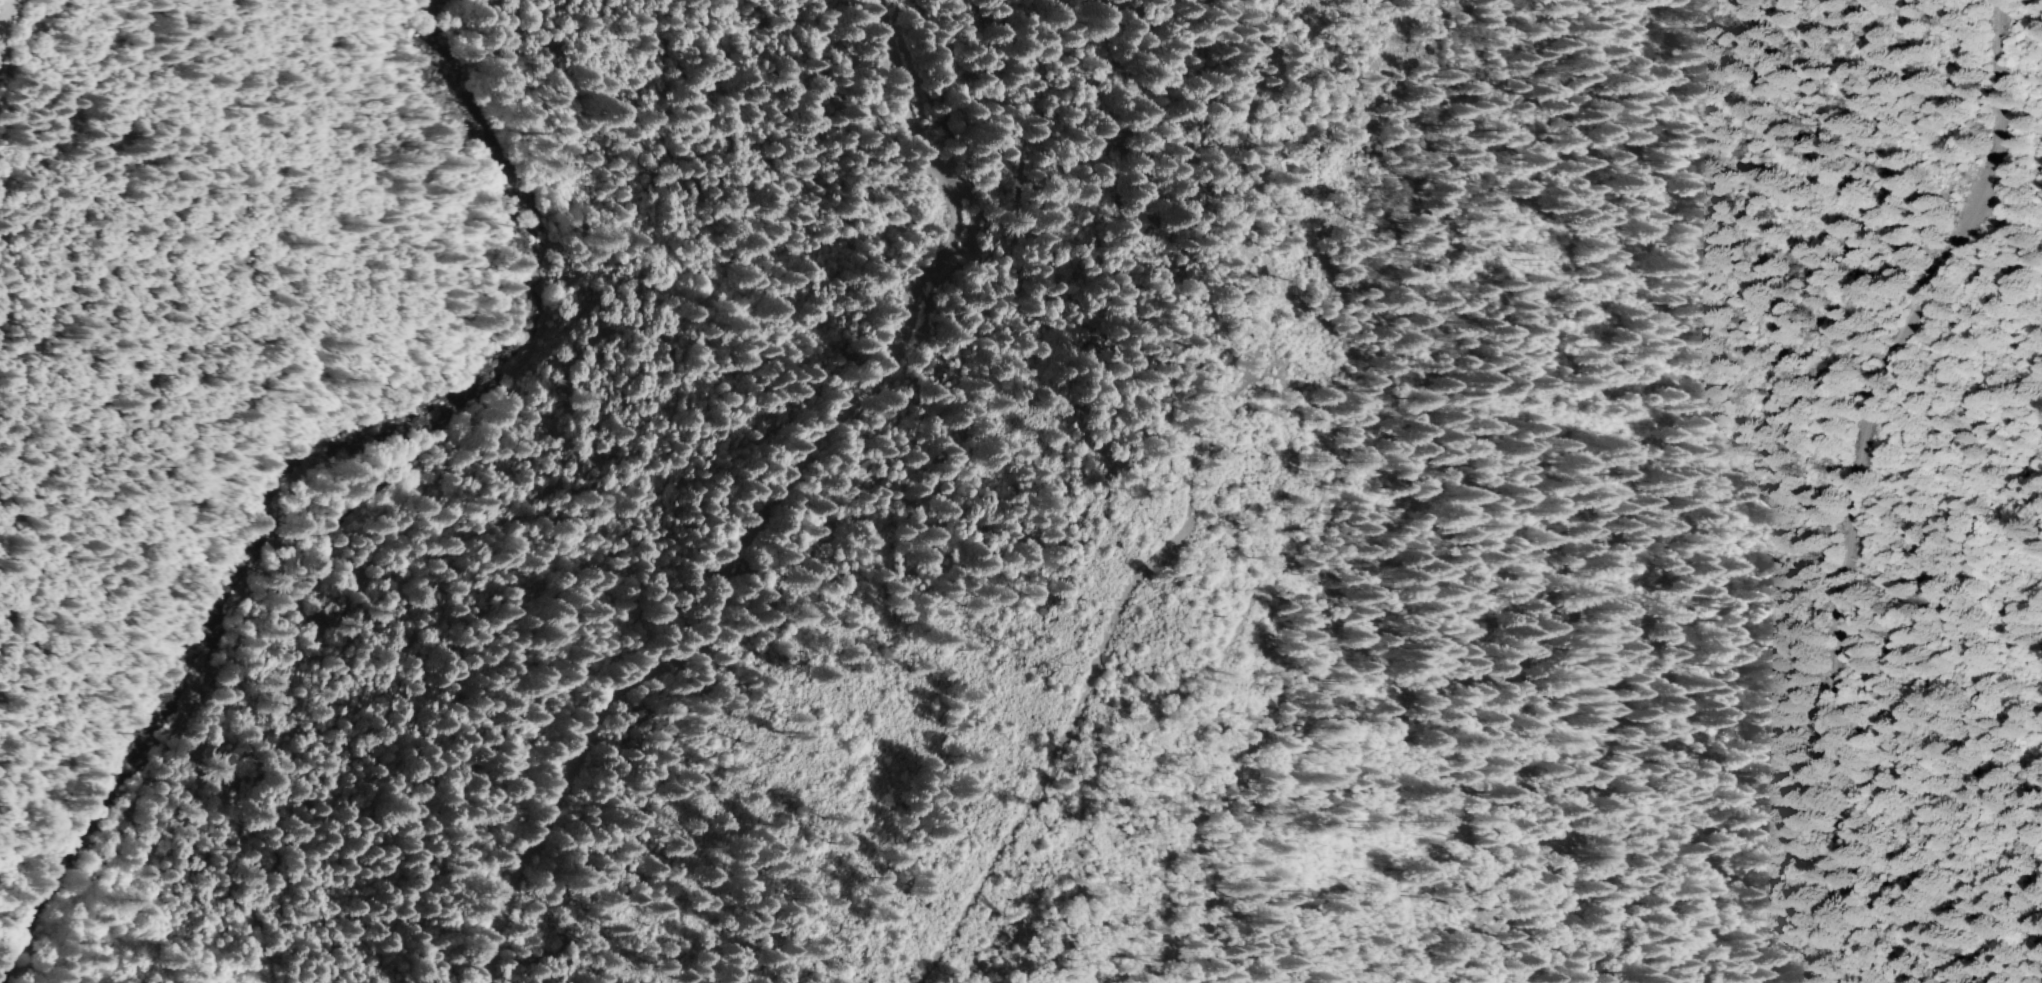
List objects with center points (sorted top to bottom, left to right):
road: (1827, 479)

